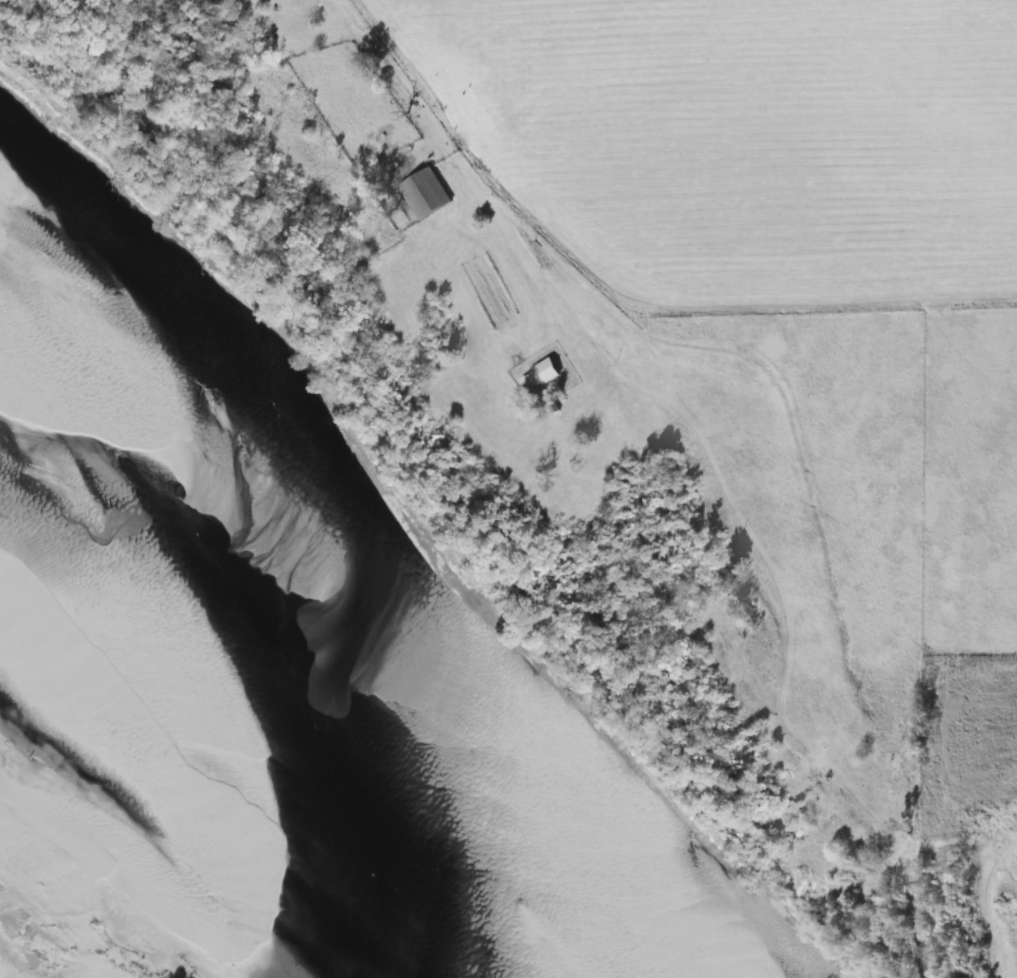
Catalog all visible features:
road: (459, 189)
building: (423, 194)
building: (537, 376)
river: (303, 697)

